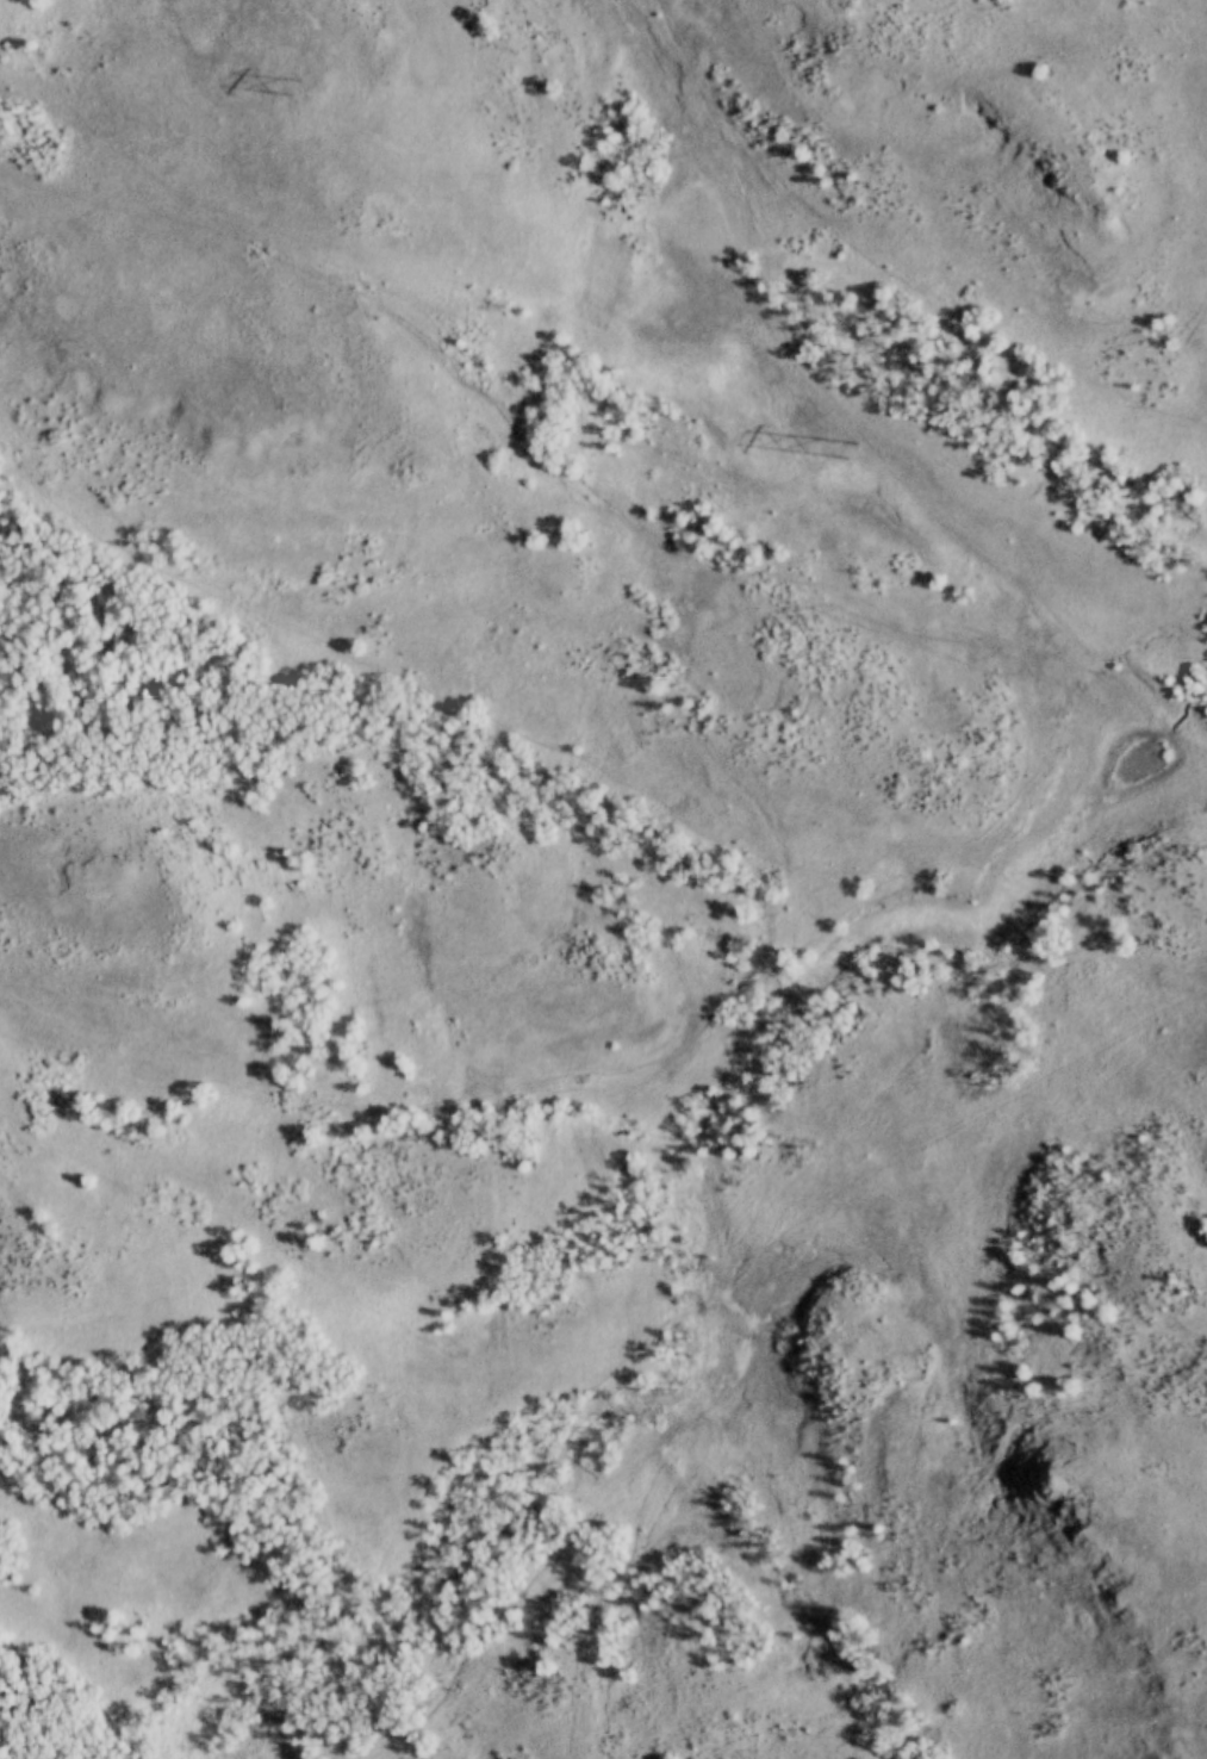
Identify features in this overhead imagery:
power tower: (306, 91)
power tower: (852, 458)

